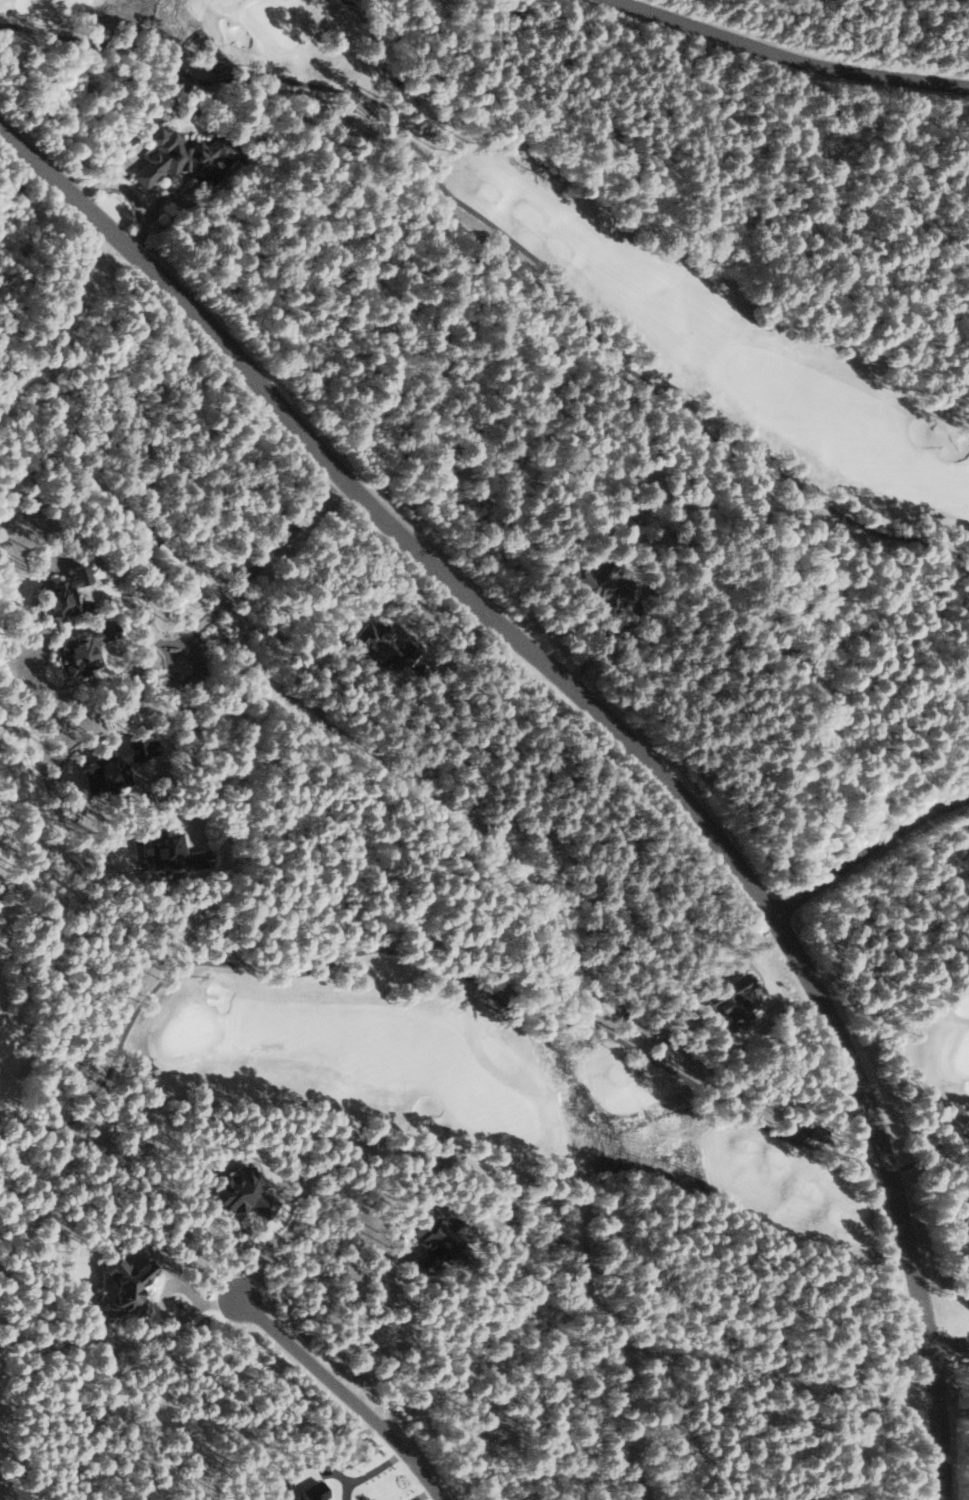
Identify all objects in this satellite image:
road: (788, 57)
building: (180, 158)
park: (562, 247)
road: (278, 544)
building: (597, 584)
building: (59, 596)
road: (203, 622)
road: (183, 641)
building: (382, 647)
building: (83, 650)
road: (619, 728)
building: (109, 769)
building: (162, 850)
road: (866, 852)
building: (198, 859)
building: (732, 1003)
park: (411, 1058)
building: (240, 1192)
building: (963, 1213)
building: (435, 1242)
building: (124, 1287)
road: (952, 1345)
road: (350, 1392)
park: (9, 1408)
building: (313, 1491)

